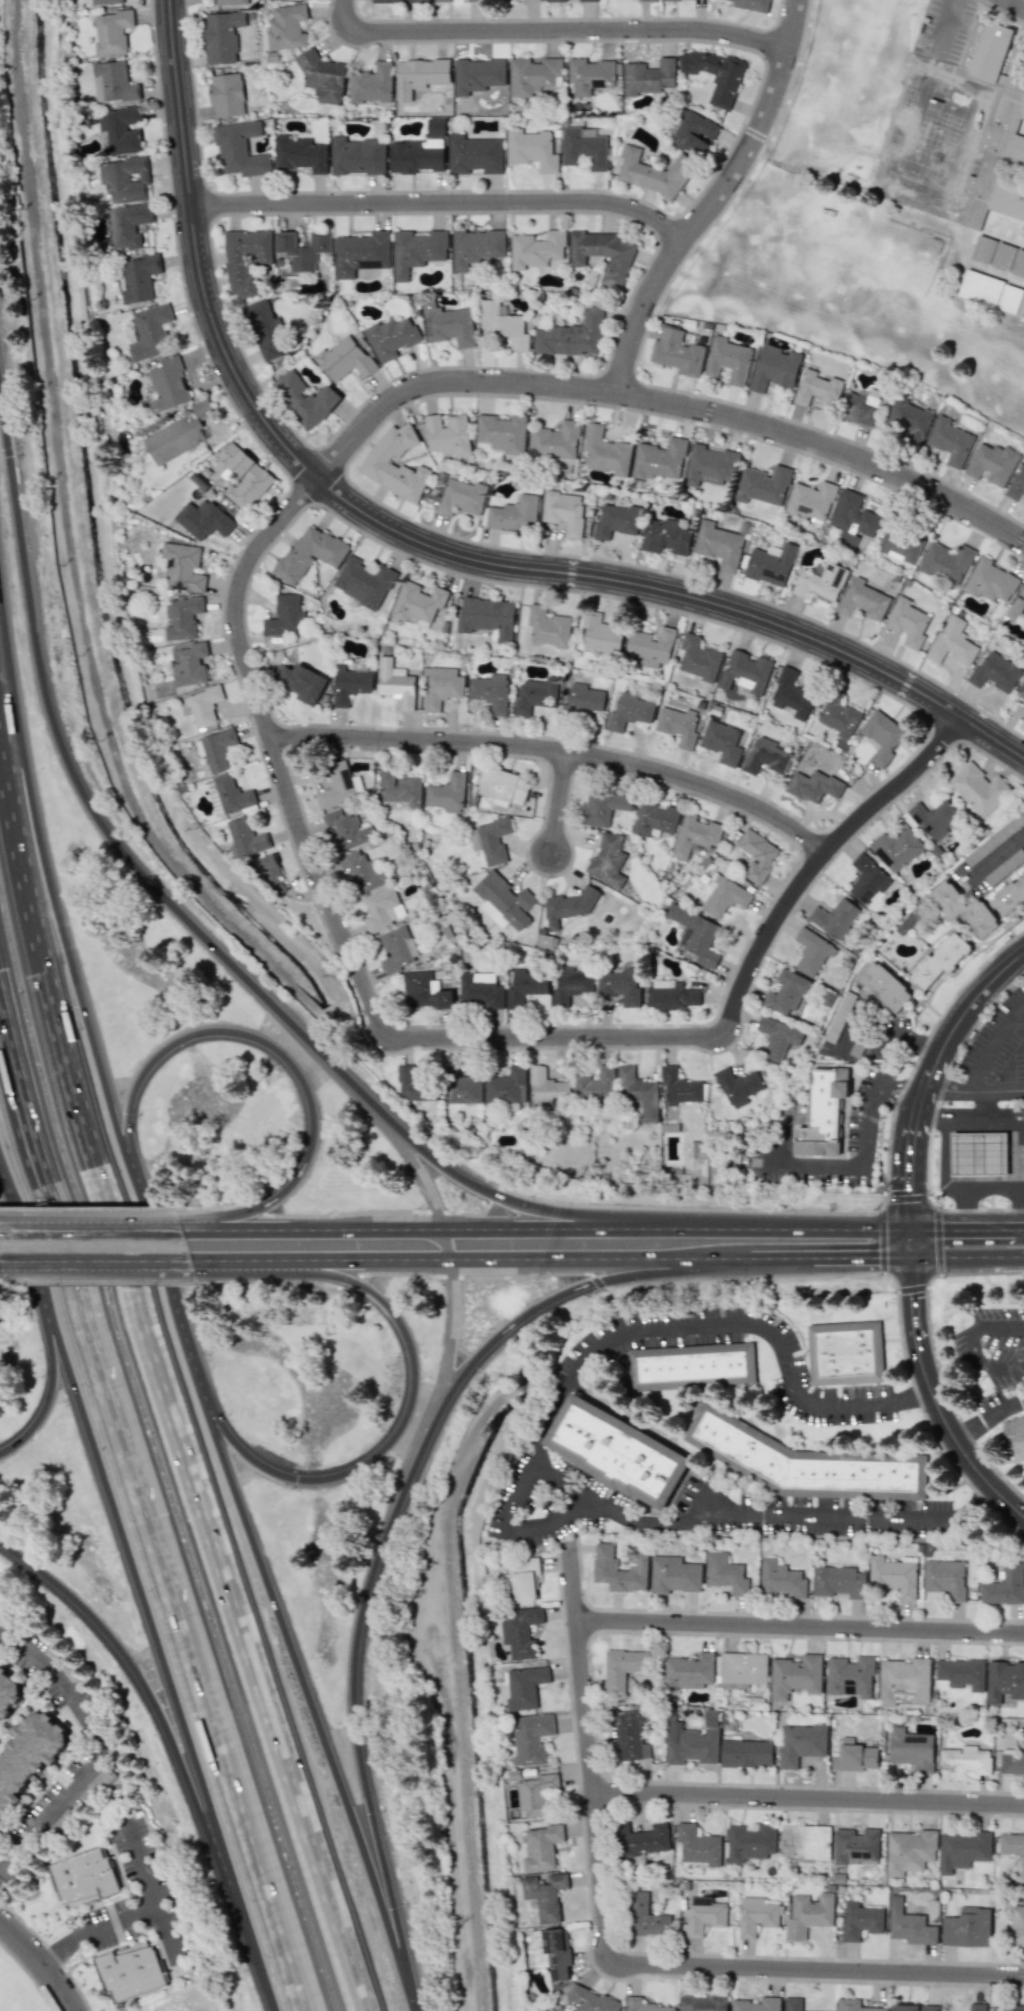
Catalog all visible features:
building: (443, 0)
building: (474, 0)
building: (532, 0)
building: (555, 0)
building: (588, 0)
building: (647, 0)
building: (669, 0)
building: (106, 1)
building: (398, 1)
road: (1019, 2)
building: (752, 5)
building: (287, 27)
road: (936, 27)
road: (550, 28)
building: (112, 31)
building: (222, 36)
building: (478, 74)
building: (533, 74)
building: (716, 74)
building: (419, 75)
building: (589, 75)
building: (322, 77)
building: (648, 77)
building: (113, 82)
building: (371, 83)
building: (226, 94)
building: (993, 124)
building: (436, 127)
building: (121, 129)
building: (693, 132)
building: (240, 149)
building: (531, 149)
building: (583, 149)
building: (300, 154)
building: (474, 154)
building: (357, 156)
building: (653, 172)
building: (126, 179)
road: (711, 200)
road: (440, 204)
building: (129, 224)
park: (848, 229)
building: (476, 247)
building: (303, 248)
building: (536, 249)
building: (416, 250)
building: (361, 253)
building: (603, 254)
building: (998, 256)
building: (246, 260)
building: (138, 278)
building: (991, 292)
building: (448, 325)
building: (502, 325)
building: (265, 329)
building: (150, 333)
building: (573, 335)
building: (391, 337)
building: (677, 352)
building: (345, 359)
building: (728, 360)
building: (774, 367)
building: (168, 385)
building: (817, 390)
building: (306, 398)
road: (664, 402)
building: (861, 406)
building: (909, 419)
building: (502, 433)
building: (180, 434)
building: (448, 435)
building: (555, 441)
building: (950, 441)
building: (605, 452)
building: (659, 459)
building: (377, 462)
building: (992, 463)
building: (710, 466)
building: (243, 476)
building: (763, 485)
building: (1017, 486)
building: (462, 497)
building: (810, 500)
building: (564, 511)
building: (514, 514)
building: (854, 518)
building: (203, 519)
building: (616, 521)
building: (665, 537)
road: (425, 544)
building: (718, 544)
building: (901, 545)
building: (309, 553)
building: (946, 562)
building: (771, 564)
building: (183, 567)
building: (820, 581)
building: (990, 581)
building: (363, 582)
building: (863, 599)
building: (418, 603)
building: (1017, 609)
building: (284, 616)
building: (182, 617)
building: (487, 617)
building: (908, 622)
building: (548, 627)
building: (601, 634)
building: (953, 642)
building: (650, 648)
building: (698, 658)
building: (190, 664)
building: (746, 672)
building: (996, 672)
building: (303, 682)
building: (395, 683)
building: (350, 684)
building: (442, 686)
building: (1020, 691)
building: (491, 692)
building: (792, 694)
building: (535, 695)
building: (582, 700)
building: (203, 705)
building: (629, 711)
building: (839, 717)
building: (678, 726)
building: (882, 736)
building: (722, 742)
building: (216, 749)
road: (560, 750)
building: (765, 756)
building: (339, 785)
building: (503, 785)
building: (813, 786)
building: (400, 788)
building: (978, 788)
building: (447, 793)
building: (230, 795)
road: (556, 798)
building: (604, 806)
building: (933, 817)
building: (655, 819)
building: (347, 829)
building: (695, 835)
building: (246, 837)
building: (995, 839)
building: (490, 840)
building: (896, 848)
building: (757, 855)
building: (607, 861)
road: (992, 862)
building: (360, 871)
building: (271, 875)
road: (50, 879)
building: (867, 879)
building: (725, 895)
building: (1009, 897)
building: (502, 901)
building: (568, 907)
building: (380, 909)
building: (963, 909)
road: (182, 913)
building: (835, 918)
building: (696, 934)
building: (396, 948)
building: (812, 951)
building: (940, 960)
building: (526, 984)
building: (571, 984)
building: (620, 986)
building: (885, 987)
building: (480, 990)
building: (424, 991)
building: (785, 992)
building: (671, 995)
road: (975, 1002)
road: (850, 1026)
road: (450, 1036)
building: (777, 1038)
road: (897, 1040)
road: (266, 1043)
parking lot: (996, 1046)
road: (995, 1049)
road: (935, 1073)
road: (1020, 1083)
building: (595, 1084)
road: (900, 1084)
building: (416, 1086)
building: (738, 1086)
building: (506, 1087)
building: (547, 1087)
building: (679, 1087)
building: (463, 1089)
road: (948, 1090)
road: (1003, 1090)
building: (638, 1091)
road: (974, 1091)
road: (926, 1099)
road: (898, 1103)
building: (824, 1104)
road: (989, 1104)
road: (934, 1113)
road: (1018, 1136)
building: (982, 1155)
road: (409, 1159)
building: (690, 1166)
road: (856, 1167)
road: (916, 1168)
road: (942, 1176)
road: (994, 1188)
road: (117, 1221)
road: (337, 1222)
road: (1018, 1222)
road: (965, 1223)
road: (535, 1225)
road: (773, 1225)
road: (443, 1240)
road: (917, 1242)
road: (341, 1254)
road: (117, 1255)
road: (28, 1257)
road: (597, 1257)
road: (780, 1258)
road: (970, 1258)
road: (864, 1259)
road: (78, 1280)
road: (896, 1281)
road: (168, 1282)
road: (449, 1334)
road: (972, 1342)
building: (847, 1352)
road: (933, 1354)
building: (693, 1369)
road: (938, 1403)
road: (408, 1404)
road: (170, 1410)
road: (46, 1411)
road: (988, 1417)
building: (1014, 1436)
building: (619, 1452)
building: (808, 1464)
road: (516, 1482)
road: (401, 1500)
building: (619, 1569)
building: (725, 1573)
building: (673, 1575)
building: (893, 1576)
building: (945, 1578)
building: (524, 1579)
building: (780, 1579)
building: (839, 1581)
building: (1005, 1586)
road: (768, 1612)
road: (801, 1627)
building: (521, 1632)
building: (622, 1668)
building: (740, 1670)
building: (689, 1671)
building: (961, 1673)
building: (795, 1676)
building: (850, 1676)
road: (169, 1679)
building: (1004, 1681)
building: (904, 1682)
building: (524, 1686)
building: (8, 1694)
road: (312, 1706)
building: (629, 1734)
building: (531, 1739)
building: (692, 1740)
building: (801, 1743)
building: (911, 1749)
road: (97, 1752)
road: (175, 1752)
building: (746, 1753)
building: (28, 1755)
building: (854, 1756)
building: (965, 1760)
building: (1012, 1764)
road: (236, 1785)
building: (535, 1794)
road: (809, 1798)
building: (642, 1840)
building: (805, 1841)
building: (749, 1842)
building: (698, 1845)
building: (1012, 1846)
building: (541, 1847)
building: (856, 1847)
building: (962, 1850)
building: (910, 1851)
building: (84, 1877)
road: (152, 1890)
parking lot: (155, 1891)
building: (544, 1895)
building: (703, 1915)
building: (756, 1915)
building: (808, 1915)
building: (645, 1917)
building: (860, 1920)
building: (909, 1924)
building: (1016, 1926)
building: (967, 1928)
road: (96, 1930)
building: (550, 1951)
road: (49, 1953)
road: (610, 1959)
road: (39, 1964)
building: (130, 1970)
road: (598, 1970)
road: (28, 1976)
building: (591, 2000)
building: (702, 2003)
building: (757, 2004)
building: (792, 2004)
building: (644, 2005)
building: (853, 2005)
building: (913, 2007)
building: (977, 2007)
building: (1013, 2007)

